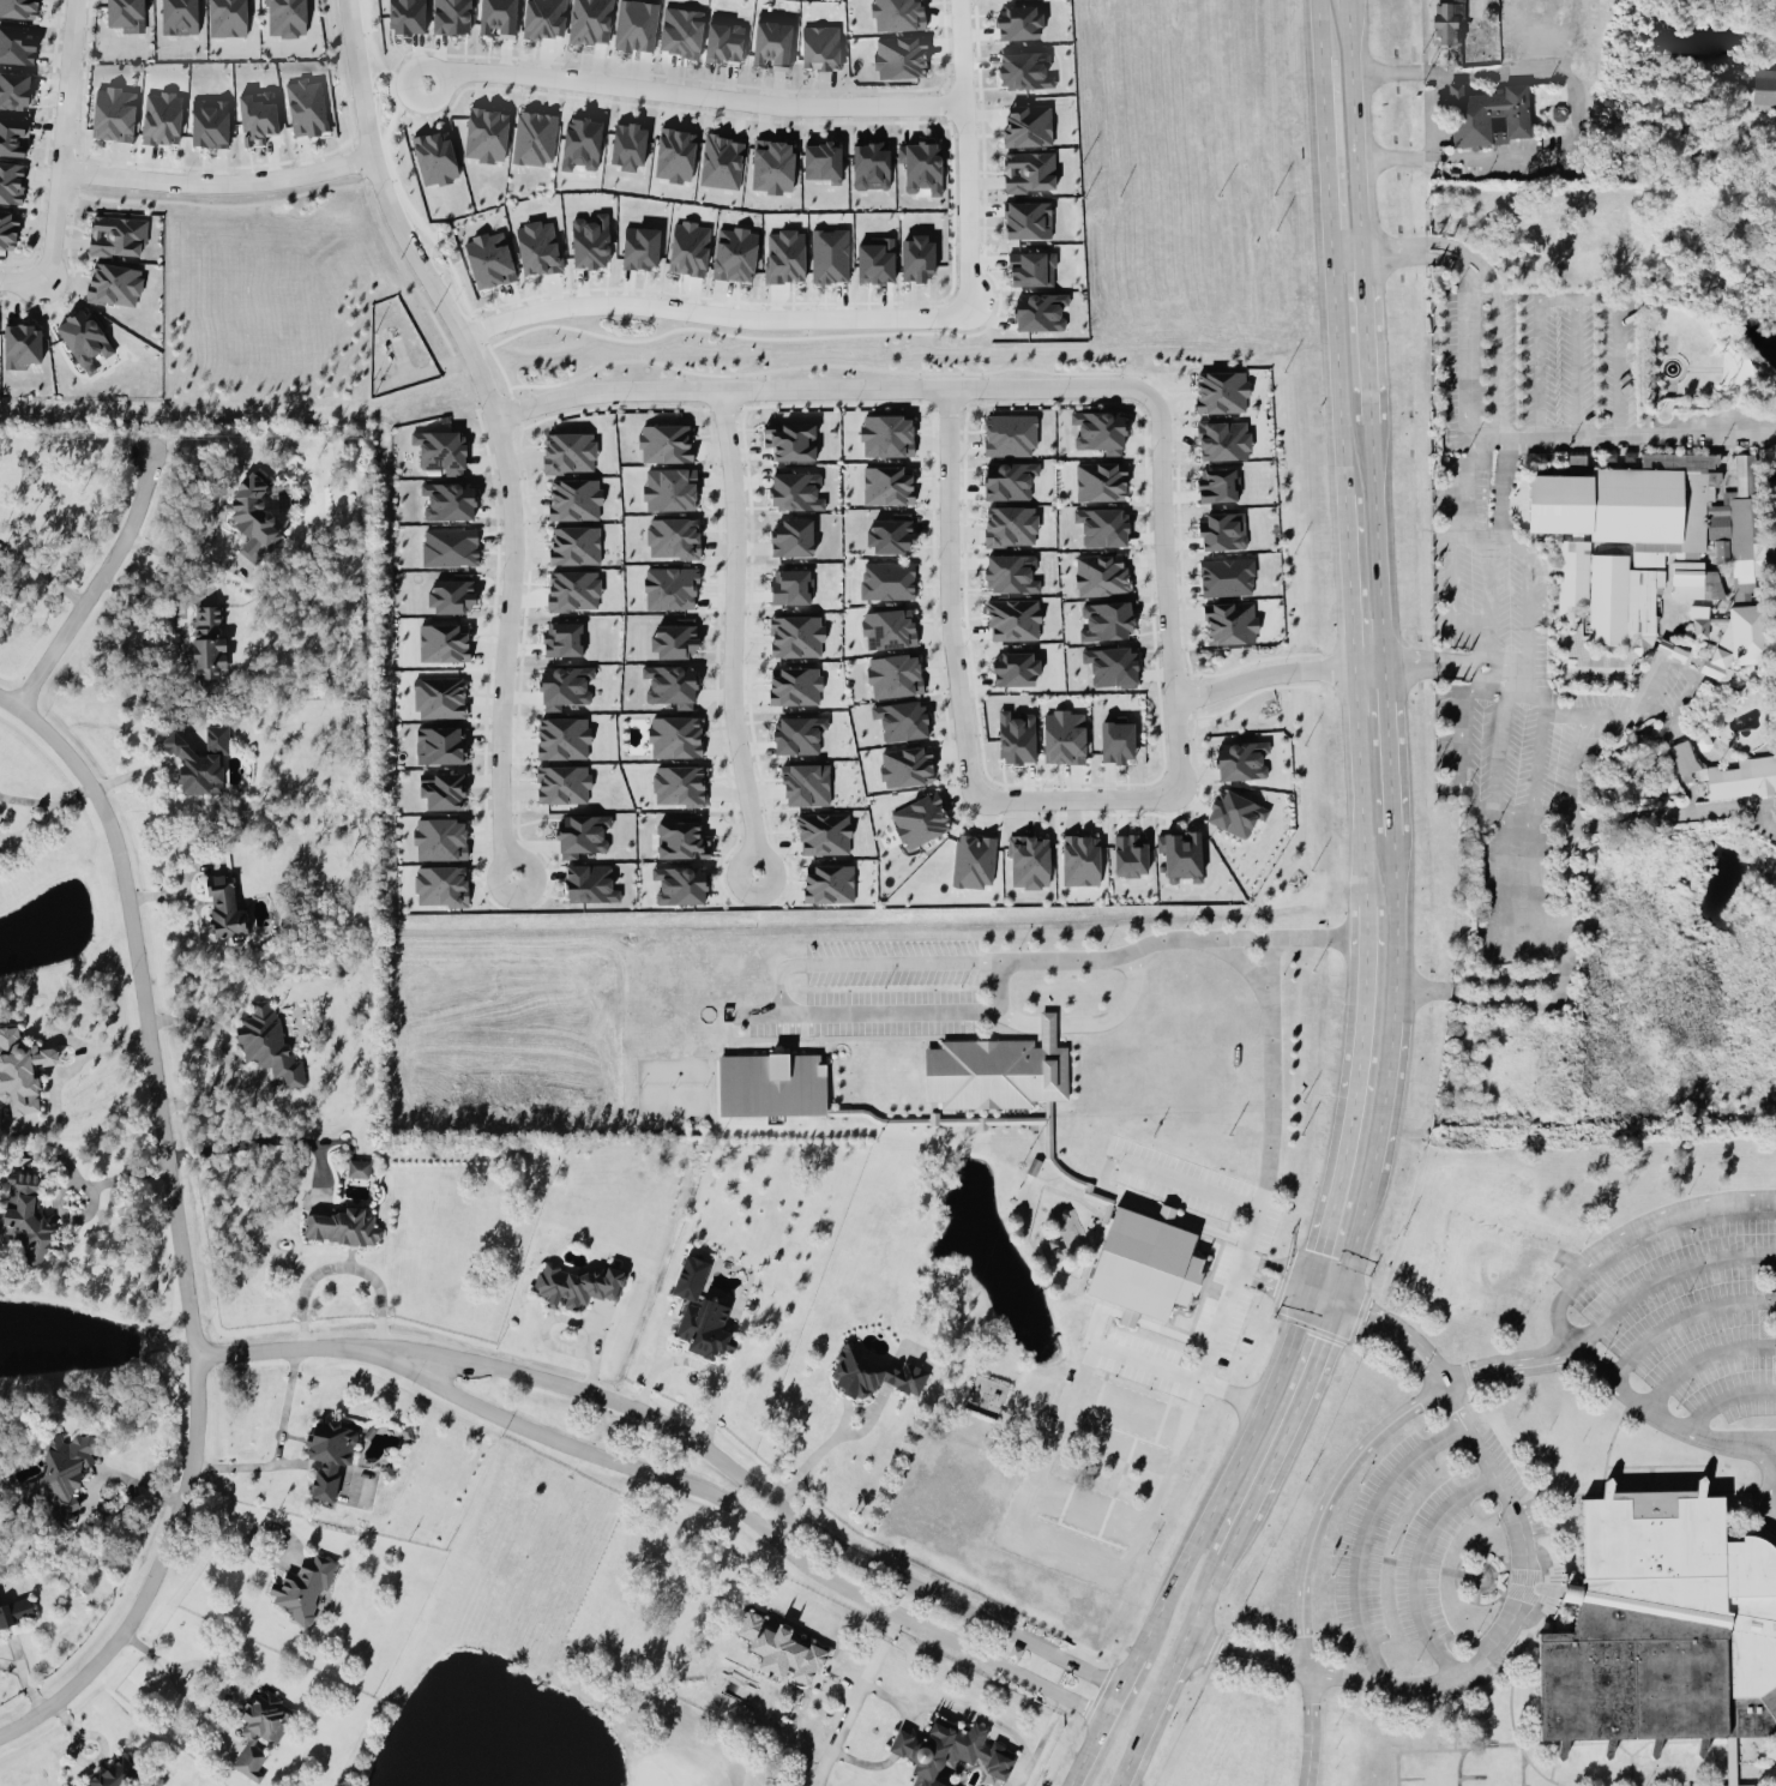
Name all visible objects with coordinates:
building: (19, 7)
building: (126, 14)
building: (898, 14)
building: (180, 16)
building: (407, 16)
building: (451, 16)
building: (228, 17)
building: (285, 17)
building: (544, 18)
building: (590, 20)
building: (1019, 22)
building: (1450, 22)
building: (636, 24)
road: (1317, 29)
building: (681, 30)
building: (724, 41)
building: (771, 41)
building: (17, 44)
building: (820, 46)
building: (901, 56)
building: (1024, 68)
building: (1764, 85)
building: (14, 89)
road: (693, 92)
building: (307, 106)
building: (114, 113)
building: (1488, 114)
building: (258, 115)
building: (162, 116)
building: (210, 121)
road: (1353, 121)
building: (1028, 124)
building: (486, 133)
building: (13, 136)
building: (535, 137)
road: (61, 139)
building: (580, 142)
building: (628, 145)
building: (675, 154)
road: (969, 154)
building: (434, 157)
road: (1324, 160)
building: (721, 161)
building: (821, 161)
building: (772, 164)
building: (871, 164)
building: (921, 164)
building: (1029, 170)
building: (11, 181)
road: (216, 182)
building: (1028, 218)
building: (8, 228)
building: (116, 234)
building: (590, 241)
road: (1344, 243)
building: (537, 246)
building: (640, 246)
building: (688, 247)
road: (1360, 252)
building: (734, 253)
building: (784, 254)
building: (830, 254)
building: (916, 257)
building: (489, 258)
building: (875, 259)
road: (1345, 261)
building: (1031, 267)
road: (1487, 276)
road: (24, 278)
building: (114, 283)
road: (1471, 291)
building: (1040, 309)
road: (717, 313)
road: (1617, 324)
building: (84, 336)
road: (1365, 342)
building: (22, 344)
road: (401, 359)
road: (425, 372)
road: (1541, 374)
road: (1337, 375)
road: (815, 385)
building: (1221, 390)
road: (496, 422)
road: (1475, 426)
road: (1492, 426)
building: (1100, 429)
road: (1630, 431)
building: (887, 434)
building: (1010, 434)
building: (1223, 439)
building: (790, 440)
building: (666, 443)
building: (441, 450)
building: (570, 451)
building: (1621, 458)
building: (1009, 479)
building: (1100, 480)
building: (887, 483)
building: (1217, 483)
building: (669, 488)
building: (795, 491)
building: (574, 498)
building: (448, 500)
building: (1661, 510)
building: (253, 513)
road: (217, 518)
building: (1010, 524)
building: (1103, 525)
building: (1223, 530)
building: (891, 533)
building: (673, 536)
building: (791, 536)
road: (1375, 542)
building: (574, 545)
building: (450, 546)
road: (43, 571)
building: (1011, 572)
building: (1101, 573)
building: (1227, 576)
road: (1348, 576)
building: (1572, 576)
building: (887, 579)
building: (1694, 579)
road: (97, 585)
building: (790, 585)
building: (670, 587)
building: (573, 589)
road: (950, 589)
road: (1167, 591)
building: (453, 593)
road: (1475, 596)
building: (1621, 601)
building: (1013, 619)
building: (1107, 619)
building: (1699, 620)
building: (1230, 621)
building: (889, 627)
road: (732, 629)
building: (796, 635)
building: (562, 638)
building: (675, 638)
building: (1740, 639)
building: (444, 641)
building: (207, 643)
road: (1367, 662)
building: (1112, 665)
building: (1015, 668)
road: (1262, 670)
road: (1691, 670)
building: (895, 674)
building: (670, 684)
building: (565, 685)
building: (795, 685)
building: (440, 696)
road: (1591, 710)
building: (902, 718)
road: (1543, 718)
building: (797, 733)
building: (675, 735)
building: (1064, 735)
building: (562, 736)
building: (1017, 736)
building: (1116, 739)
building: (440, 744)
road: (1387, 746)
building: (199, 758)
building: (1241, 759)
building: (907, 765)
building: (1729, 772)
building: (562, 783)
building: (806, 783)
road: (1359, 783)
building: (679, 784)
building: (443, 789)
road: (1062, 798)
road: (47, 804)
road: (1751, 806)
building: (1235, 812)
building: (921, 819)
road: (1539, 820)
building: (1, 824)
building: (824, 832)
building: (582, 834)
building: (440, 837)
building: (682, 837)
building: (1181, 853)
building: (1131, 854)
building: (1080, 859)
building: (974, 860)
building: (1029, 860)
building: (590, 882)
building: (829, 882)
building: (441, 884)
building: (680, 884)
building: (224, 906)
road: (1569, 909)
road: (1395, 910)
road: (1307, 934)
road: (1252, 948)
road: (914, 958)
road: (787, 964)
road: (1000, 984)
road: (1426, 988)
road: (1558, 991)
road: (1363, 992)
road: (143, 1004)
road: (884, 1010)
road: (1120, 1010)
road: (1015, 1017)
road: (1048, 1026)
road: (1390, 1038)
building: (267, 1041)
building: (22, 1069)
building: (997, 1069)
building: (771, 1082)
road: (1378, 1129)
building: (357, 1166)
road: (91, 1183)
road: (1336, 1185)
road: (1226, 1193)
building: (26, 1214)
building: (343, 1226)
road: (1628, 1234)
road: (1355, 1238)
building: (1144, 1262)
road: (1663, 1279)
building: (577, 1283)
traffic signals: (1310, 1291)
traffic signals: (1337, 1300)
building: (700, 1311)
parking lot: (1688, 1315)
road: (1221, 1321)
road: (1392, 1323)
road: (279, 1349)
road: (1151, 1358)
road: (655, 1359)
road: (1700, 1360)
road: (1510, 1364)
building: (872, 1372)
road: (710, 1379)
road: (1723, 1396)
road: (1663, 1425)
road: (1283, 1429)
road: (836, 1436)
road: (281, 1448)
building: (329, 1453)
road: (1766, 1471)
road: (102, 1472)
building: (60, 1474)
road: (741, 1474)
road: (1229, 1474)
road: (156, 1496)
road: (730, 1502)
road: (1329, 1502)
road: (1366, 1534)
road: (1066, 1549)
road: (269, 1561)
road: (1419, 1562)
road: (155, 1576)
building: (303, 1586)
road: (1204, 1595)
road: (1518, 1607)
building: (16, 1608)
building: (1662, 1623)
building: (0, 1635)
building: (782, 1648)
road: (1247, 1658)
road: (218, 1670)
road: (174, 1679)
road: (1108, 1682)
road: (856, 1698)
road: (1151, 1710)
road: (1092, 1713)
road: (988, 1716)
road: (910, 1718)
road: (1110, 1719)
road: (1313, 1727)
building: (261, 1730)
park: (565, 1730)
road: (899, 1742)
building: (950, 1750)
road: (865, 1760)
building: (114, 1773)
road: (1078, 1785)

